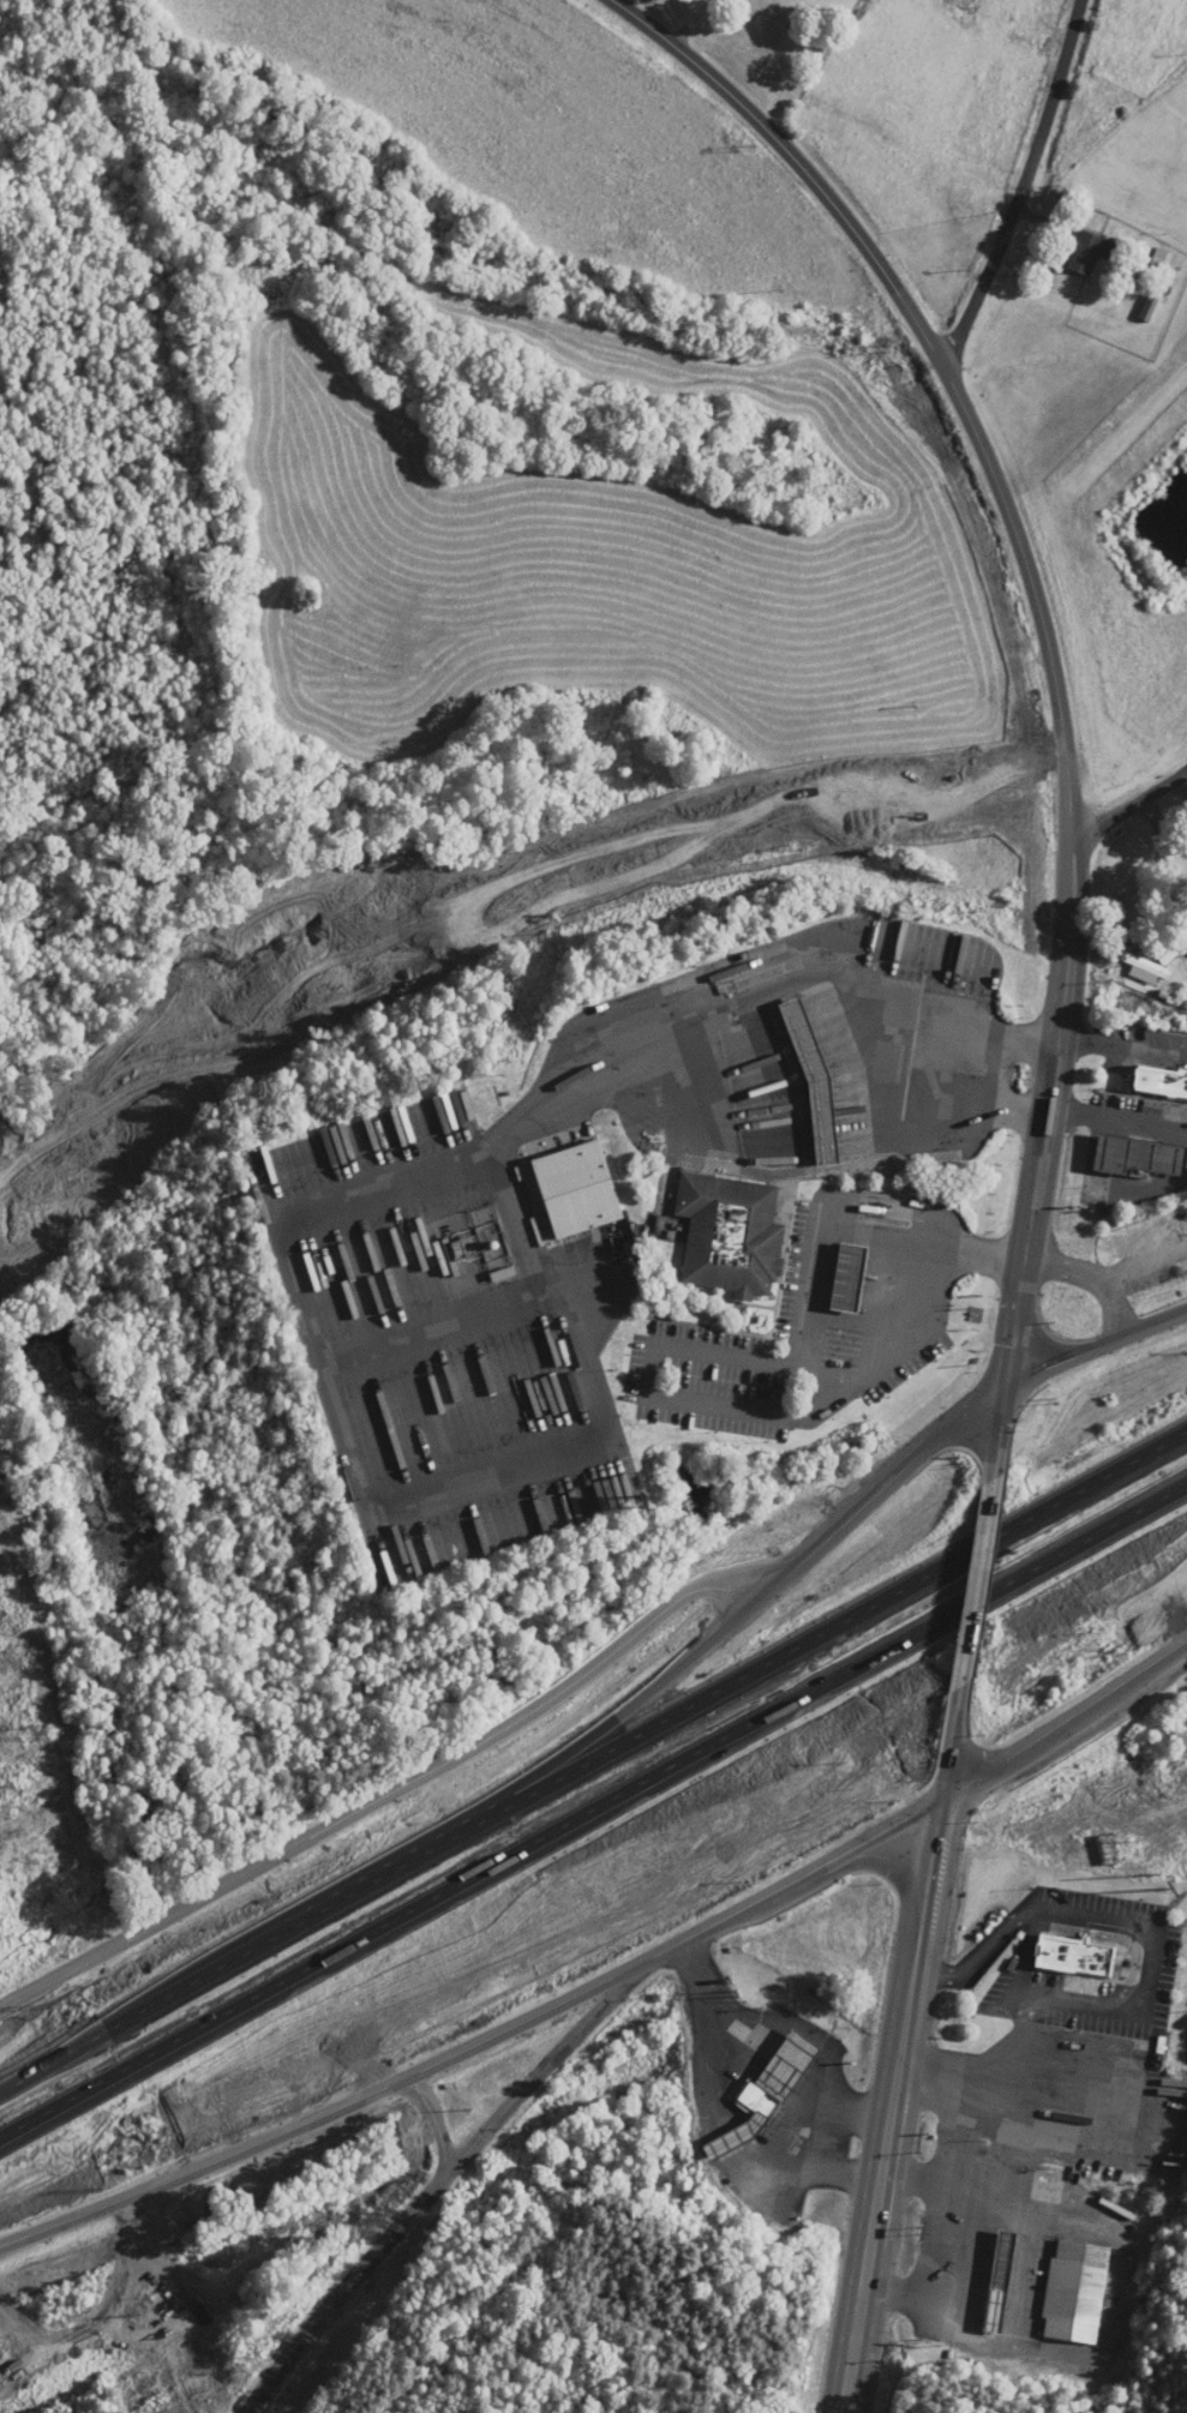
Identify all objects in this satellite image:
road: (1020, 186)
building: (1086, 253)
road: (928, 344)
road: (1182, 788)
road: (1125, 814)
road: (480, 910)
building: (1145, 967)
road: (1117, 1045)
road: (1047, 1052)
building: (813, 1078)
building: (1159, 1081)
road: (1114, 1116)
building: (1139, 1156)
road: (342, 1198)
building: (727, 1233)
building: (1143, 1237)
building: (847, 1278)
road: (1104, 1287)
road: (1017, 1383)
road: (757, 1406)
road: (996, 1577)
road: (699, 1641)
power tower: (38, 1733)
road: (970, 1743)
road: (593, 1757)
road: (594, 1814)
road: (1066, 1833)
building: (1074, 1957)
road: (1021, 1974)
road: (807, 2031)
road: (472, 2052)
building: (765, 2094)
road: (892, 2100)
road: (961, 2131)
road: (814, 2169)
road: (942, 2239)
building: (999, 2282)
building: (1074, 2292)

